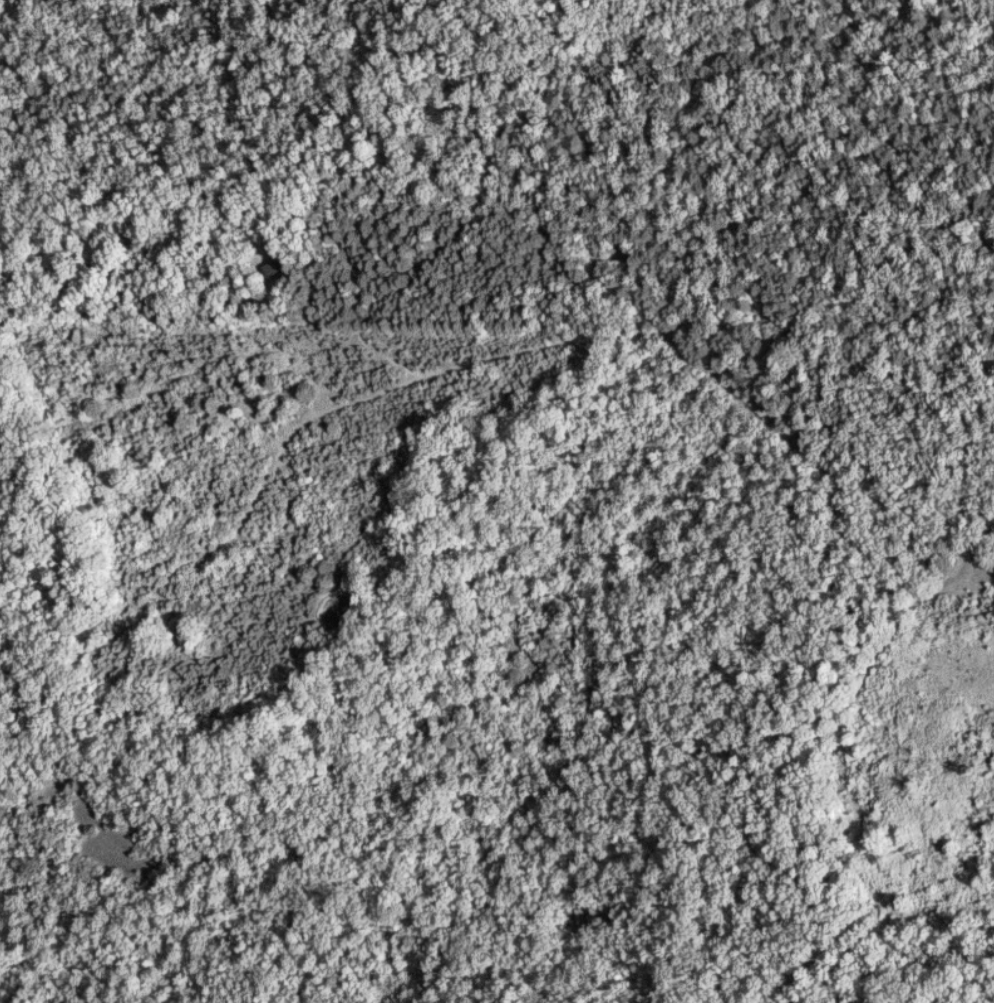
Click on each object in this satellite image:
road: (826, 744)

